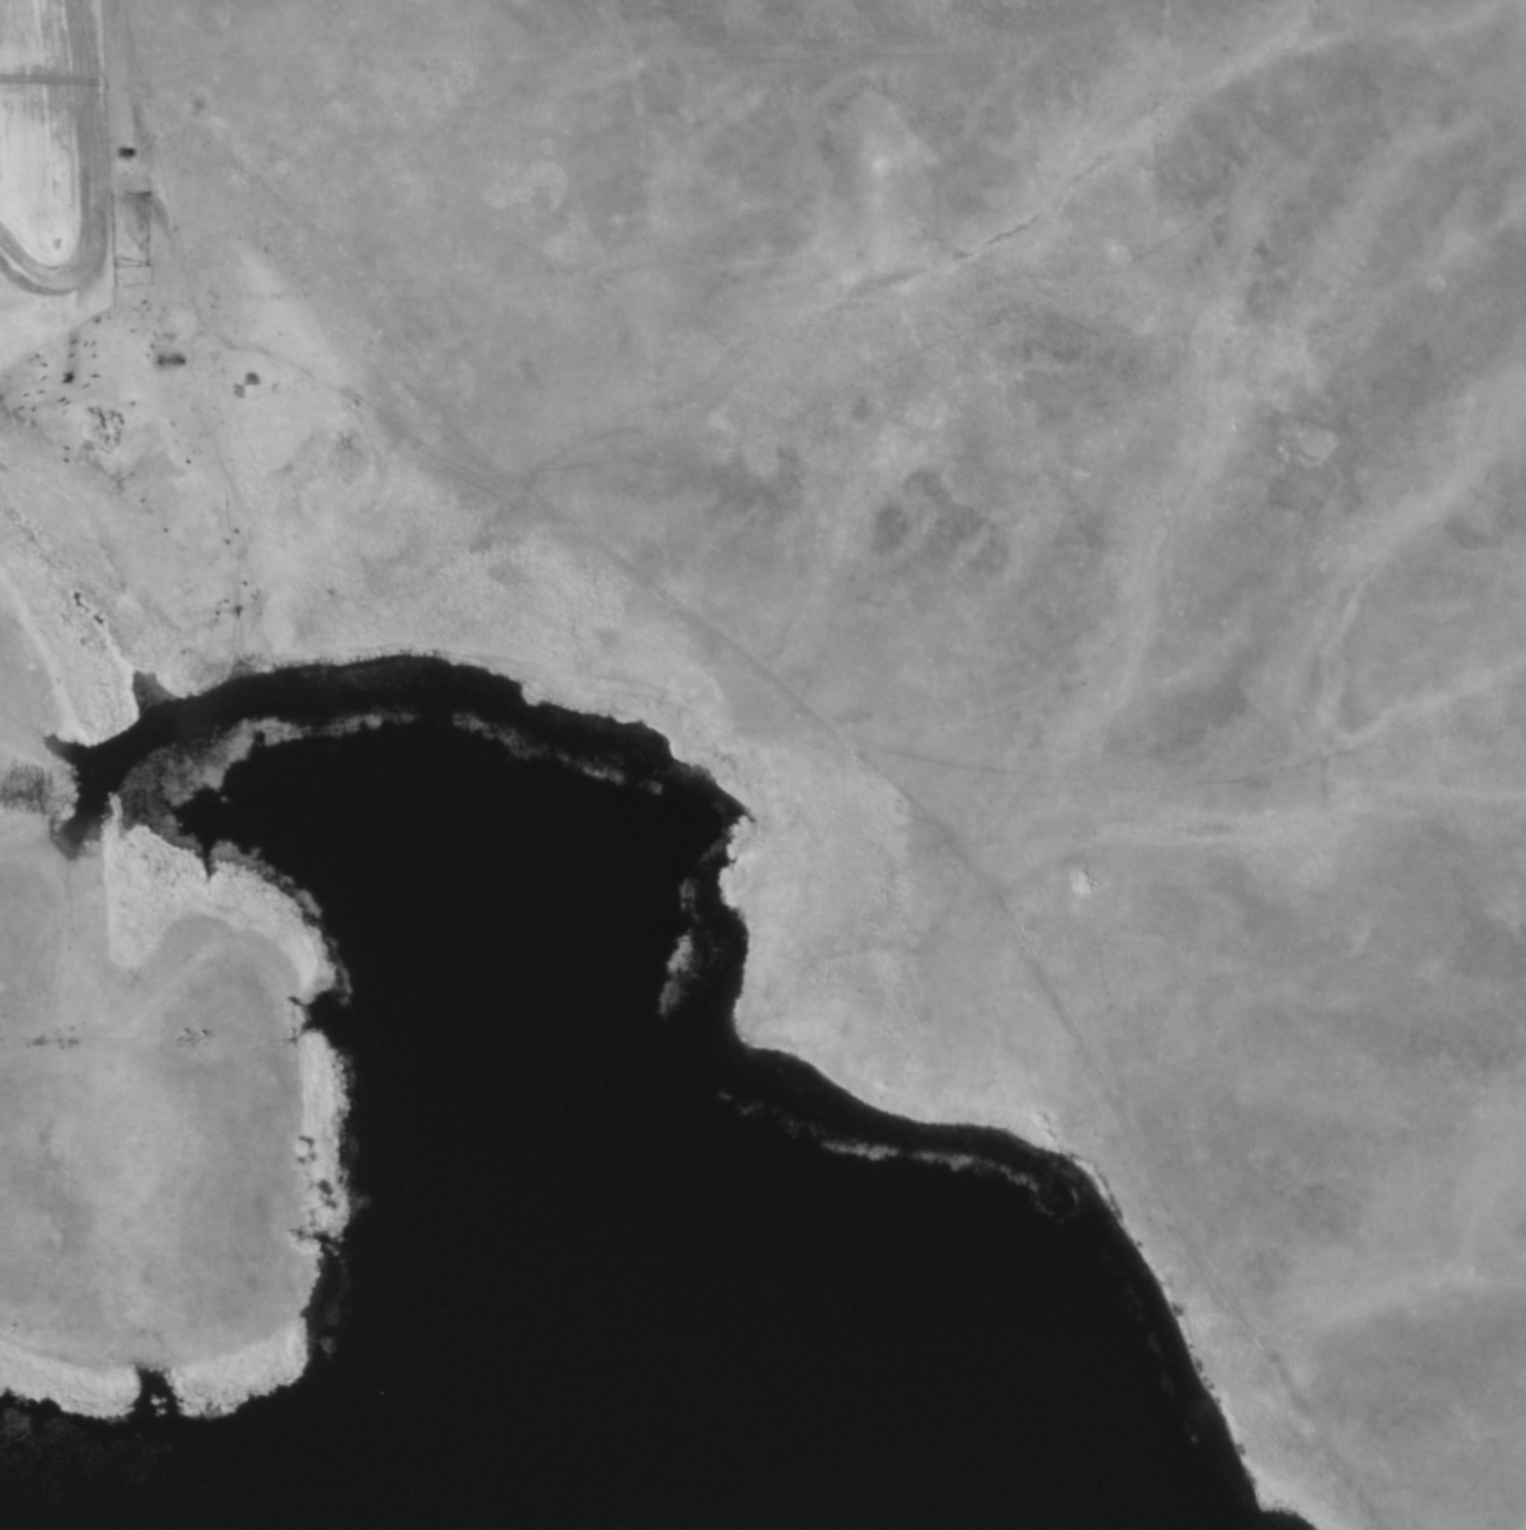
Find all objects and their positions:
road: (562, 55)
road: (847, 736)

